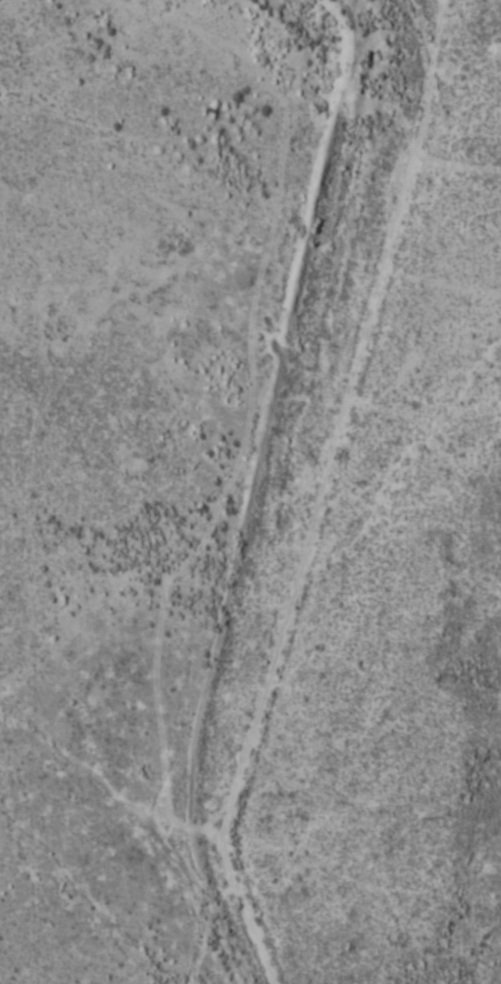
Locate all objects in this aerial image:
crop: (250, 492)
road: (435, 497)

